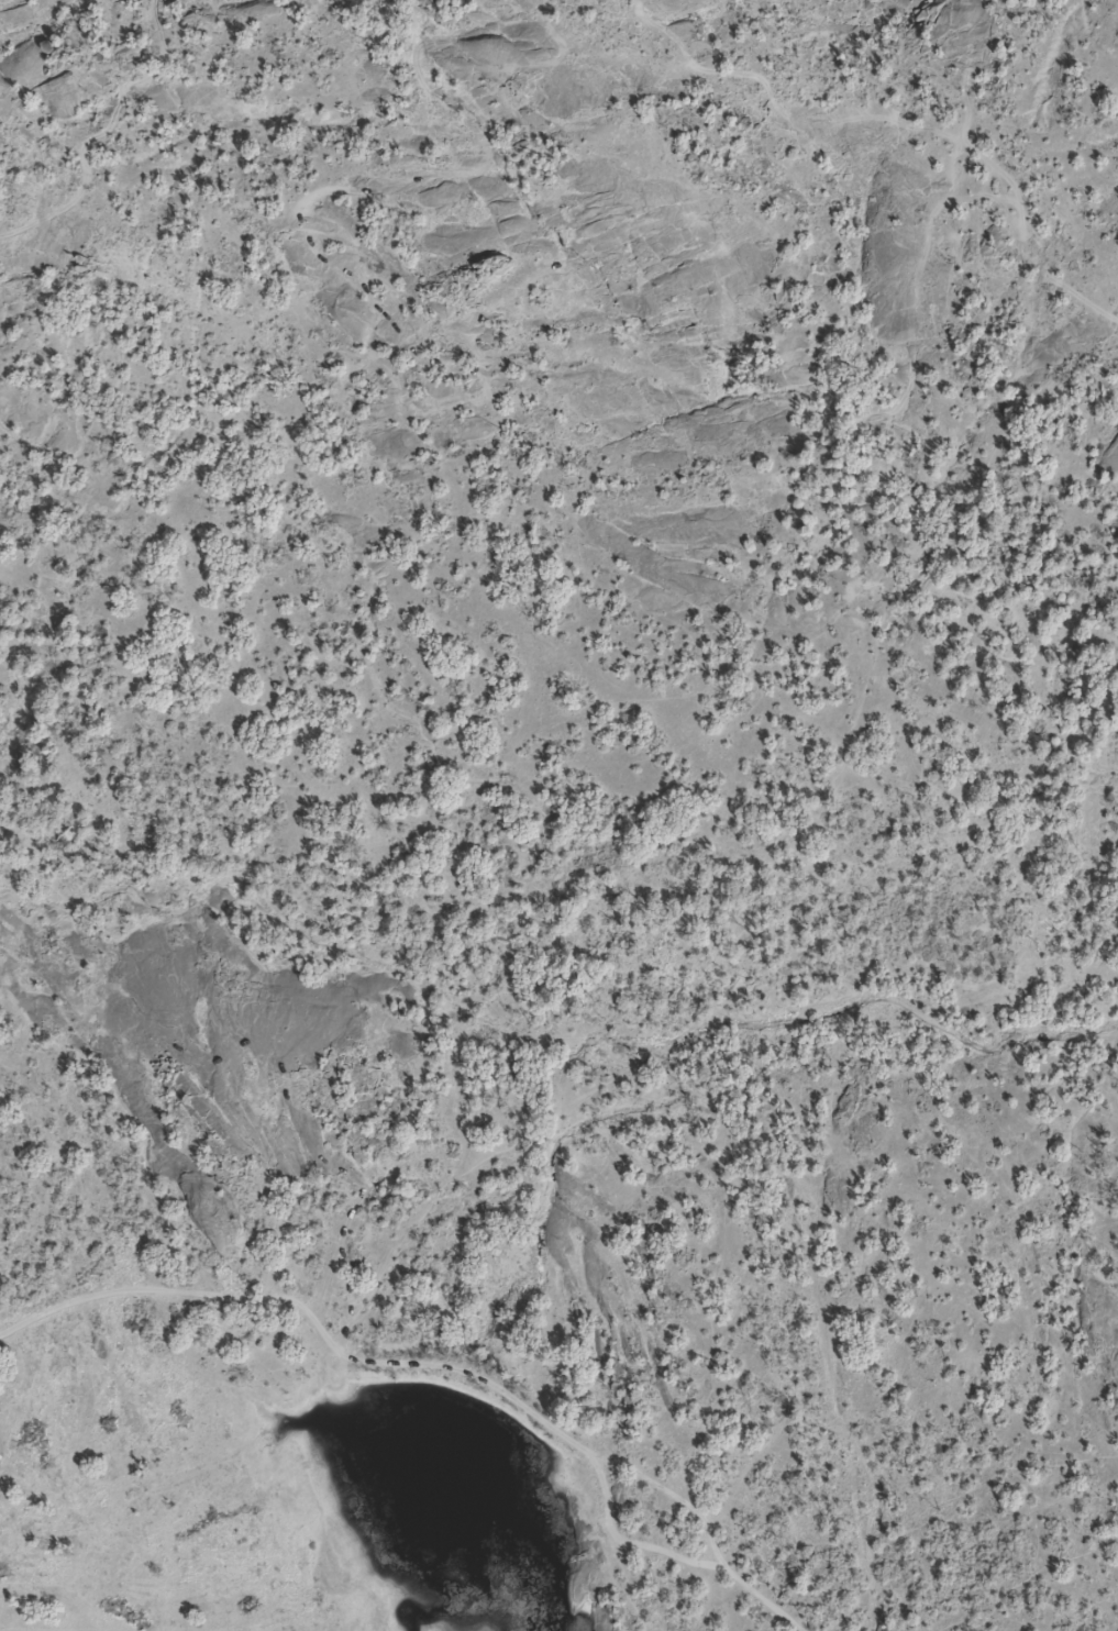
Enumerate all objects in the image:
road: (808, 1621)

